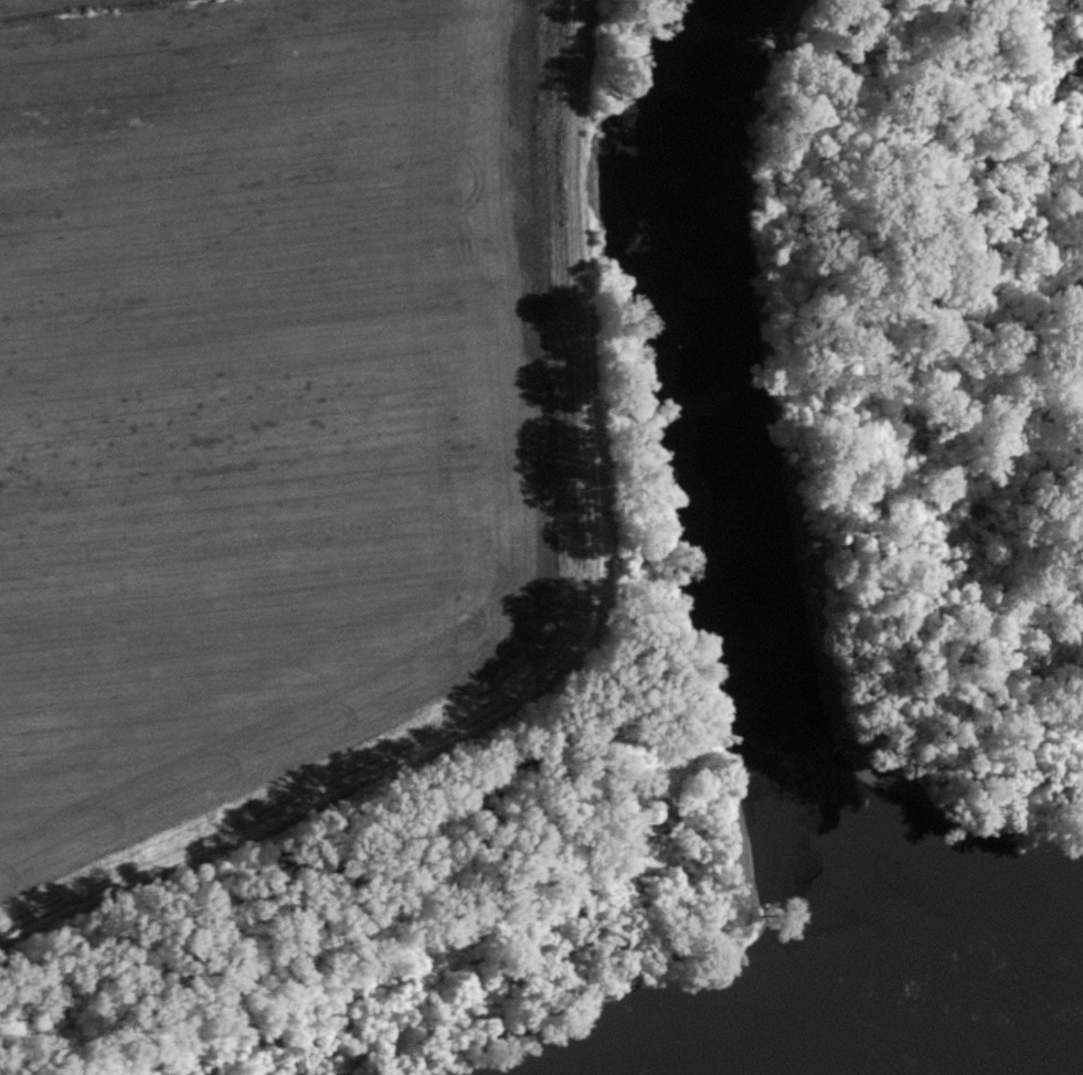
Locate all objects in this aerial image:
river: (756, 573)

